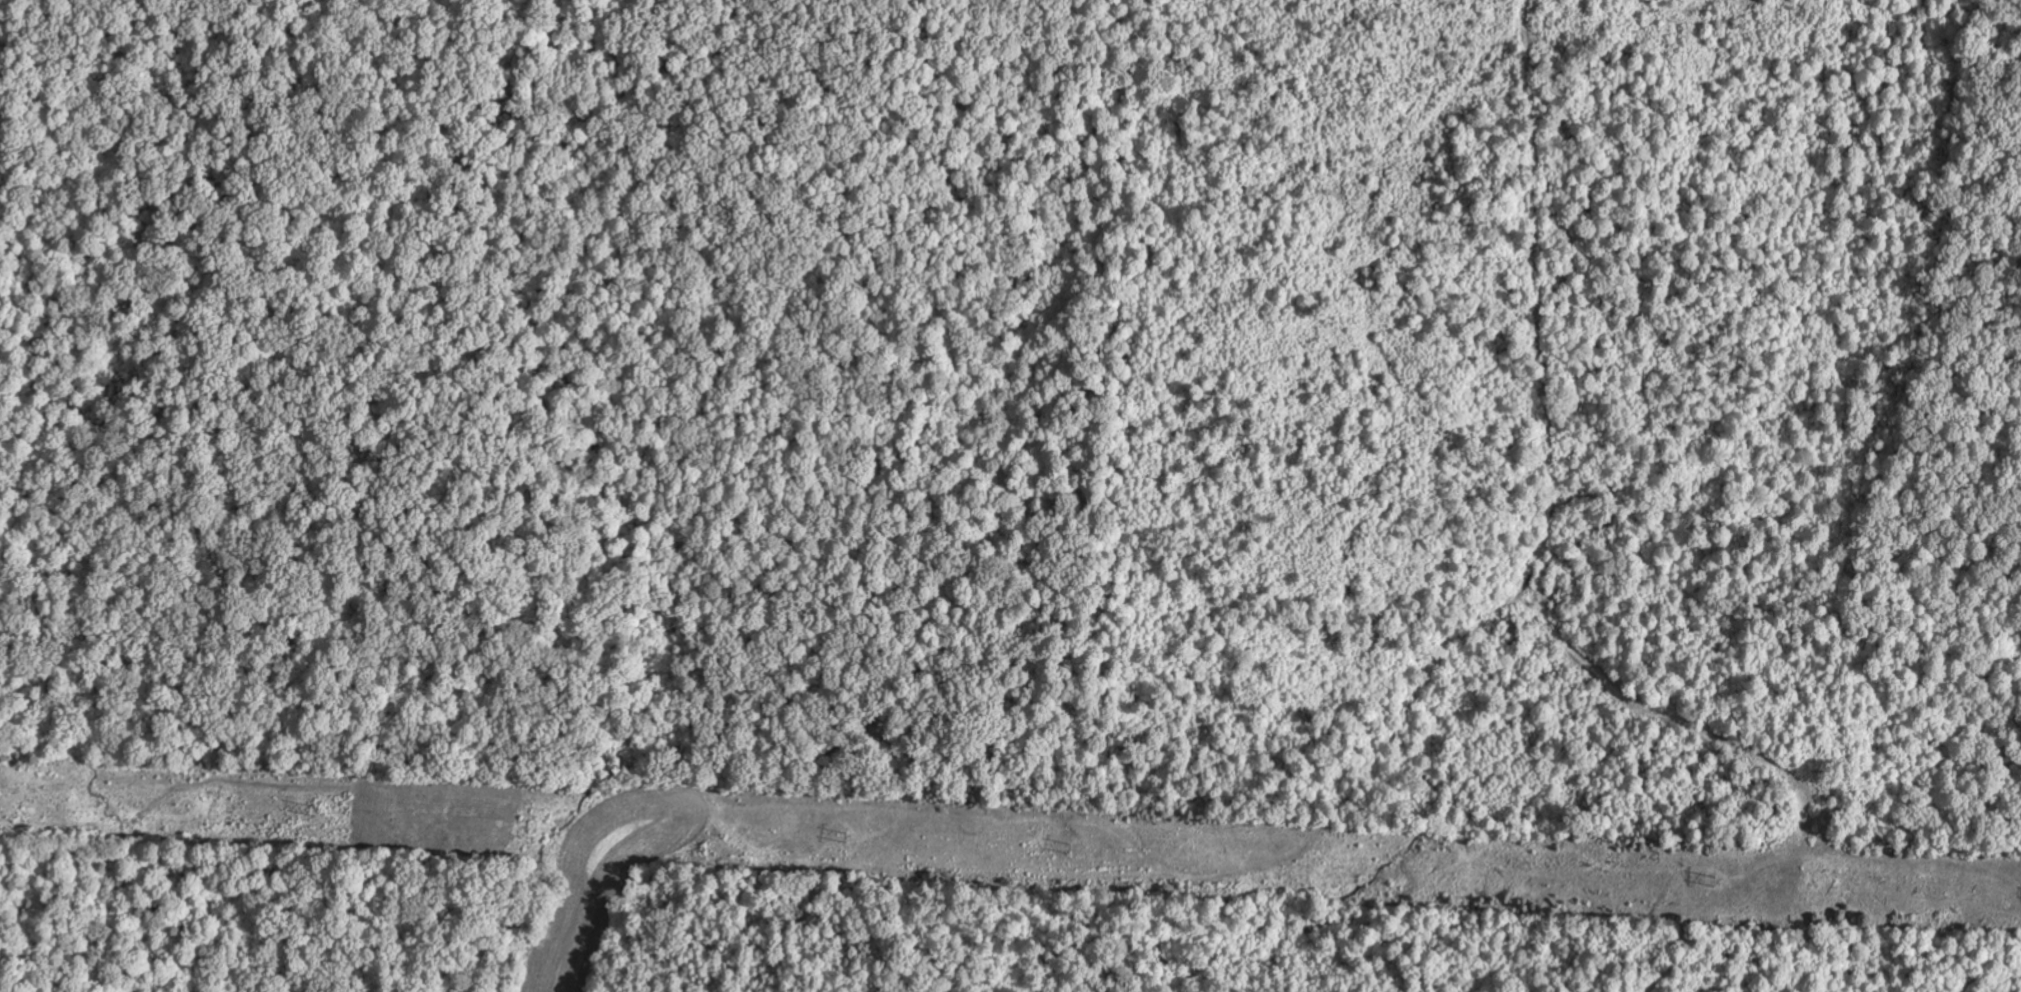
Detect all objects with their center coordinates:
power tower: (318, 809)
power tower: (839, 837)
power tower: (1072, 848)
power tower: (1731, 881)

